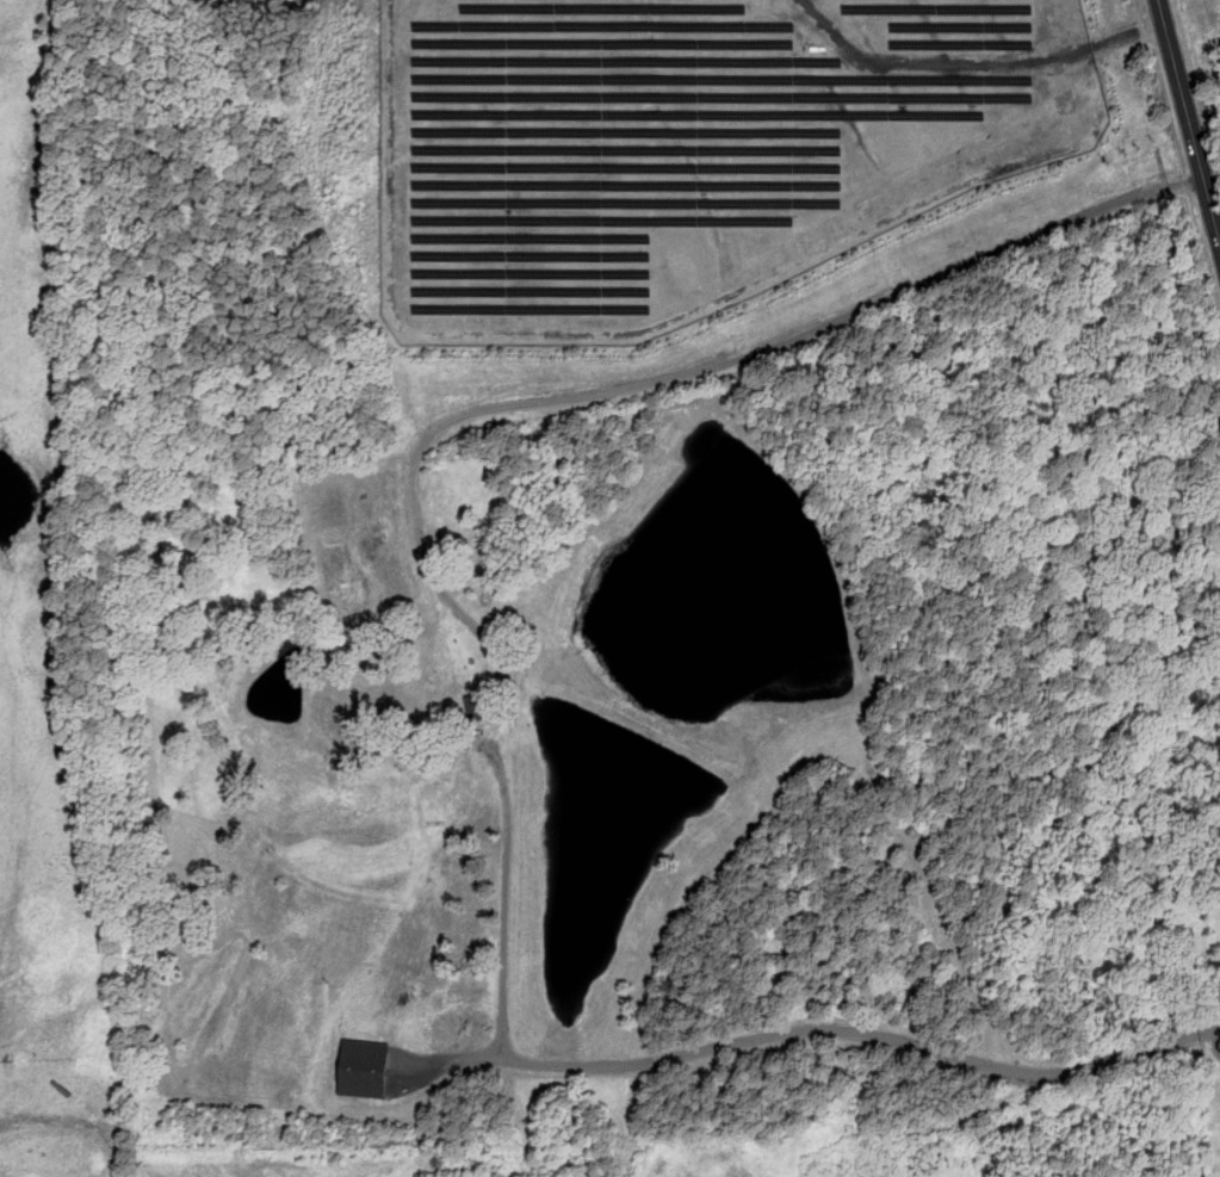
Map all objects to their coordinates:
road: (977, 63)
road: (1190, 117)
solar farm: (689, 145)
road: (645, 329)
road: (720, 363)
building: (478, 706)
road: (846, 1033)

